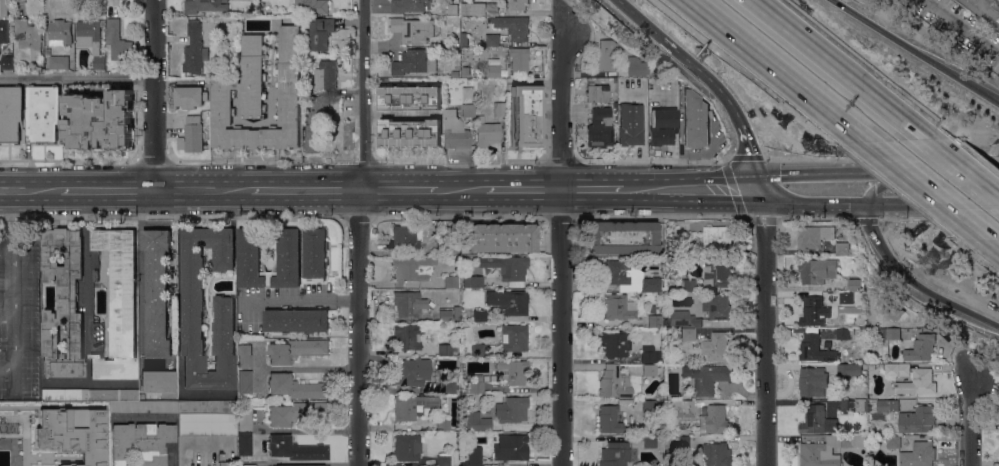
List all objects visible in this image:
building: (518, 4)
building: (205, 6)
building: (310, 6)
building: (410, 6)
building: (491, 9)
building: (984, 11)
building: (490, 20)
building: (514, 27)
road: (960, 28)
building: (413, 30)
building: (3, 32)
building: (60, 32)
building: (321, 33)
building: (28, 34)
building: (463, 35)
building: (91, 39)
building: (492, 39)
building: (117, 41)
building: (463, 42)
road: (921, 48)
building: (195, 49)
building: (47, 52)
building: (606, 56)
road: (683, 57)
building: (519, 59)
building: (7, 62)
building: (59, 62)
building: (415, 62)
building: (128, 66)
building: (637, 66)
road: (836, 68)
road: (775, 69)
building: (465, 71)
building: (493, 71)
building: (455, 73)
building: (326, 75)
road: (77, 77)
road: (154, 93)
building: (597, 93)
building: (467, 95)
building: (190, 96)
building: (261, 96)
building: (410, 98)
building: (499, 109)
building: (468, 110)
building: (11, 113)
building: (43, 113)
building: (526, 115)
building: (663, 117)
building: (100, 120)
building: (695, 120)
building: (630, 124)
building: (315, 126)
building: (600, 127)
building: (456, 131)
building: (410, 133)
building: (487, 134)
building: (192, 135)
building: (661, 136)
building: (335, 143)
road: (751, 154)
road: (68, 160)
road: (152, 160)
road: (959, 168)
road: (879, 172)
road: (960, 172)
road: (797, 174)
road: (889, 182)
road: (106, 187)
road: (201, 187)
road: (460, 187)
road: (522, 187)
road: (29, 188)
road: (305, 188)
road: (398, 188)
road: (592, 188)
road: (641, 188)
road: (711, 188)
traffic signals: (763, 188)
road: (734, 190)
road: (927, 190)
road: (796, 203)
road: (916, 204)
road: (11, 220)
building: (841, 228)
road: (359, 232)
building: (502, 237)
building: (623, 237)
building: (405, 238)
building: (813, 238)
building: (718, 239)
road: (561, 242)
road: (995, 243)
building: (450, 248)
building: (250, 249)
building: (844, 249)
building: (316, 254)
building: (507, 268)
building: (412, 269)
building: (817, 270)
building: (716, 274)
building: (96, 276)
building: (629, 277)
building: (451, 282)
building: (473, 282)
building: (684, 284)
building: (854, 285)
road: (915, 285)
road: (13, 289)
building: (158, 291)
building: (846, 297)
road: (347, 300)
road: (290, 301)
building: (509, 301)
building: (63, 303)
building: (408, 304)
building: (119, 305)
road: (87, 306)
building: (617, 306)
building: (718, 307)
building: (194, 309)
building: (815, 312)
building: (445, 316)
building: (479, 316)
building: (654, 318)
building: (683, 319)
building: (295, 321)
road: (763, 327)
building: (656, 330)
building: (687, 333)
building: (844, 333)
building: (468, 334)
building: (890, 334)
building: (408, 336)
building: (514, 338)
building: (614, 344)
building: (455, 348)
building: (717, 348)
building: (919, 348)
building: (477, 349)
building: (815, 349)
building: (296, 350)
building: (445, 350)
building: (650, 355)
road: (15, 356)
building: (245, 356)
road: (259, 356)
building: (872, 367)
road: (298, 368)
building: (649, 369)
building: (897, 369)
building: (851, 370)
building: (411, 371)
building: (509, 372)
building: (706, 377)
building: (158, 381)
building: (244, 381)
building: (812, 382)
building: (614, 383)
building: (917, 383)
building: (476, 384)
building: (295, 387)
building: (448, 387)
building: (891, 389)
building: (65, 393)
building: (113, 393)
building: (873, 401)
building: (668, 403)
building: (411, 405)
building: (854, 405)
building: (887, 405)
building: (144, 406)
building: (207, 406)
building: (650, 406)
building: (683, 408)
building: (512, 409)
building: (295, 412)
building: (245, 418)
building: (609, 419)
building: (917, 419)
road: (970, 419)
building: (715, 420)
building: (818, 420)
building: (476, 421)
building: (207, 424)
building: (443, 424)
building: (682, 426)
building: (73, 434)
building: (464, 440)
building: (682, 441)
building: (892, 441)
building: (142, 442)
building: (650, 442)
building: (245, 443)
building: (407, 447)
building: (510, 447)
building: (295, 449)
building: (828, 450)
building: (615, 454)
building: (919, 454)
building: (715, 455)
building: (474, 456)
building: (222, 460)
building: (443, 460)
building: (250, 465)
building: (302, 465)

